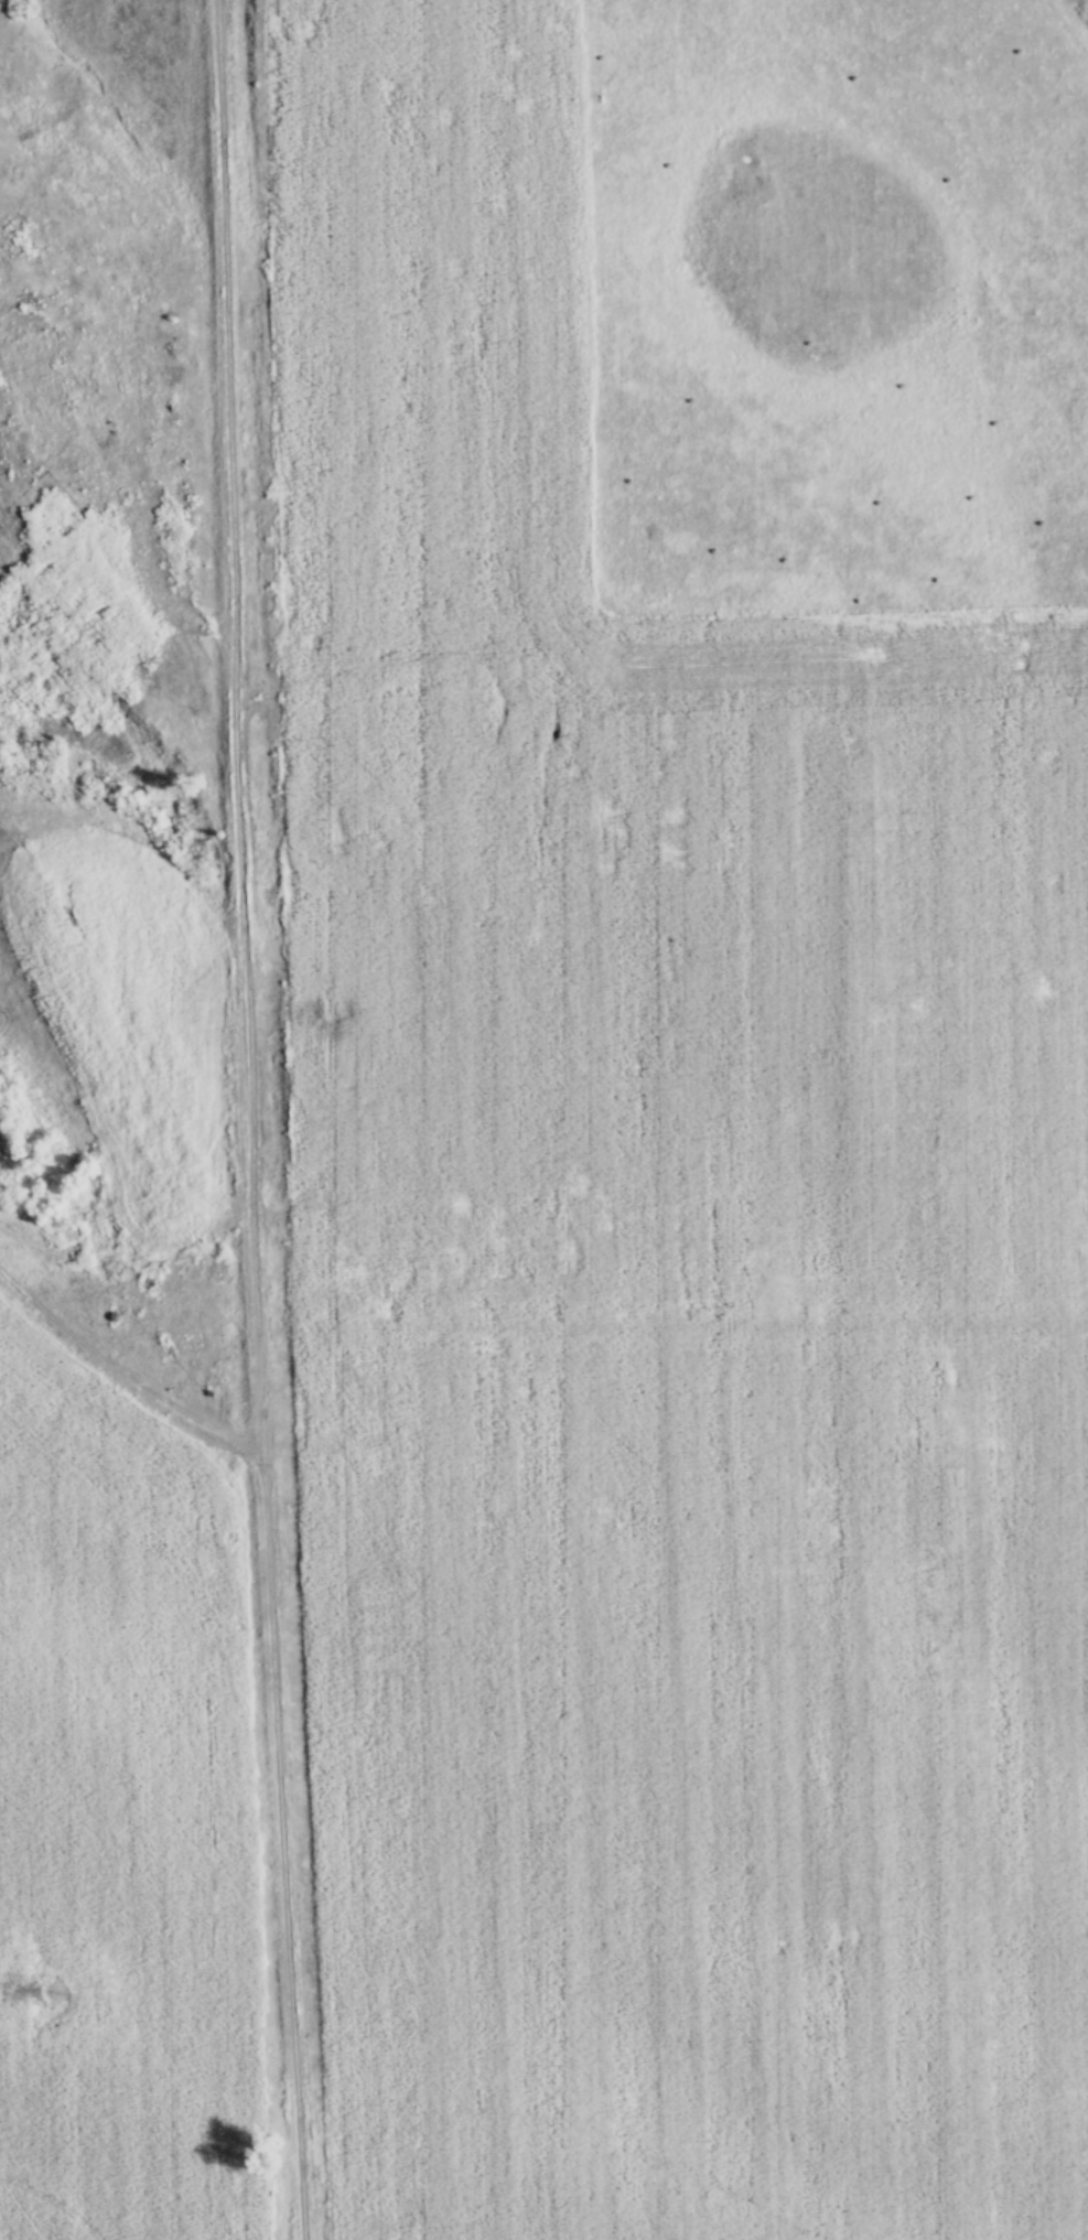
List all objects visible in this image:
road: (257, 1120)
road: (125, 1375)
power tower: (51, 1995)

